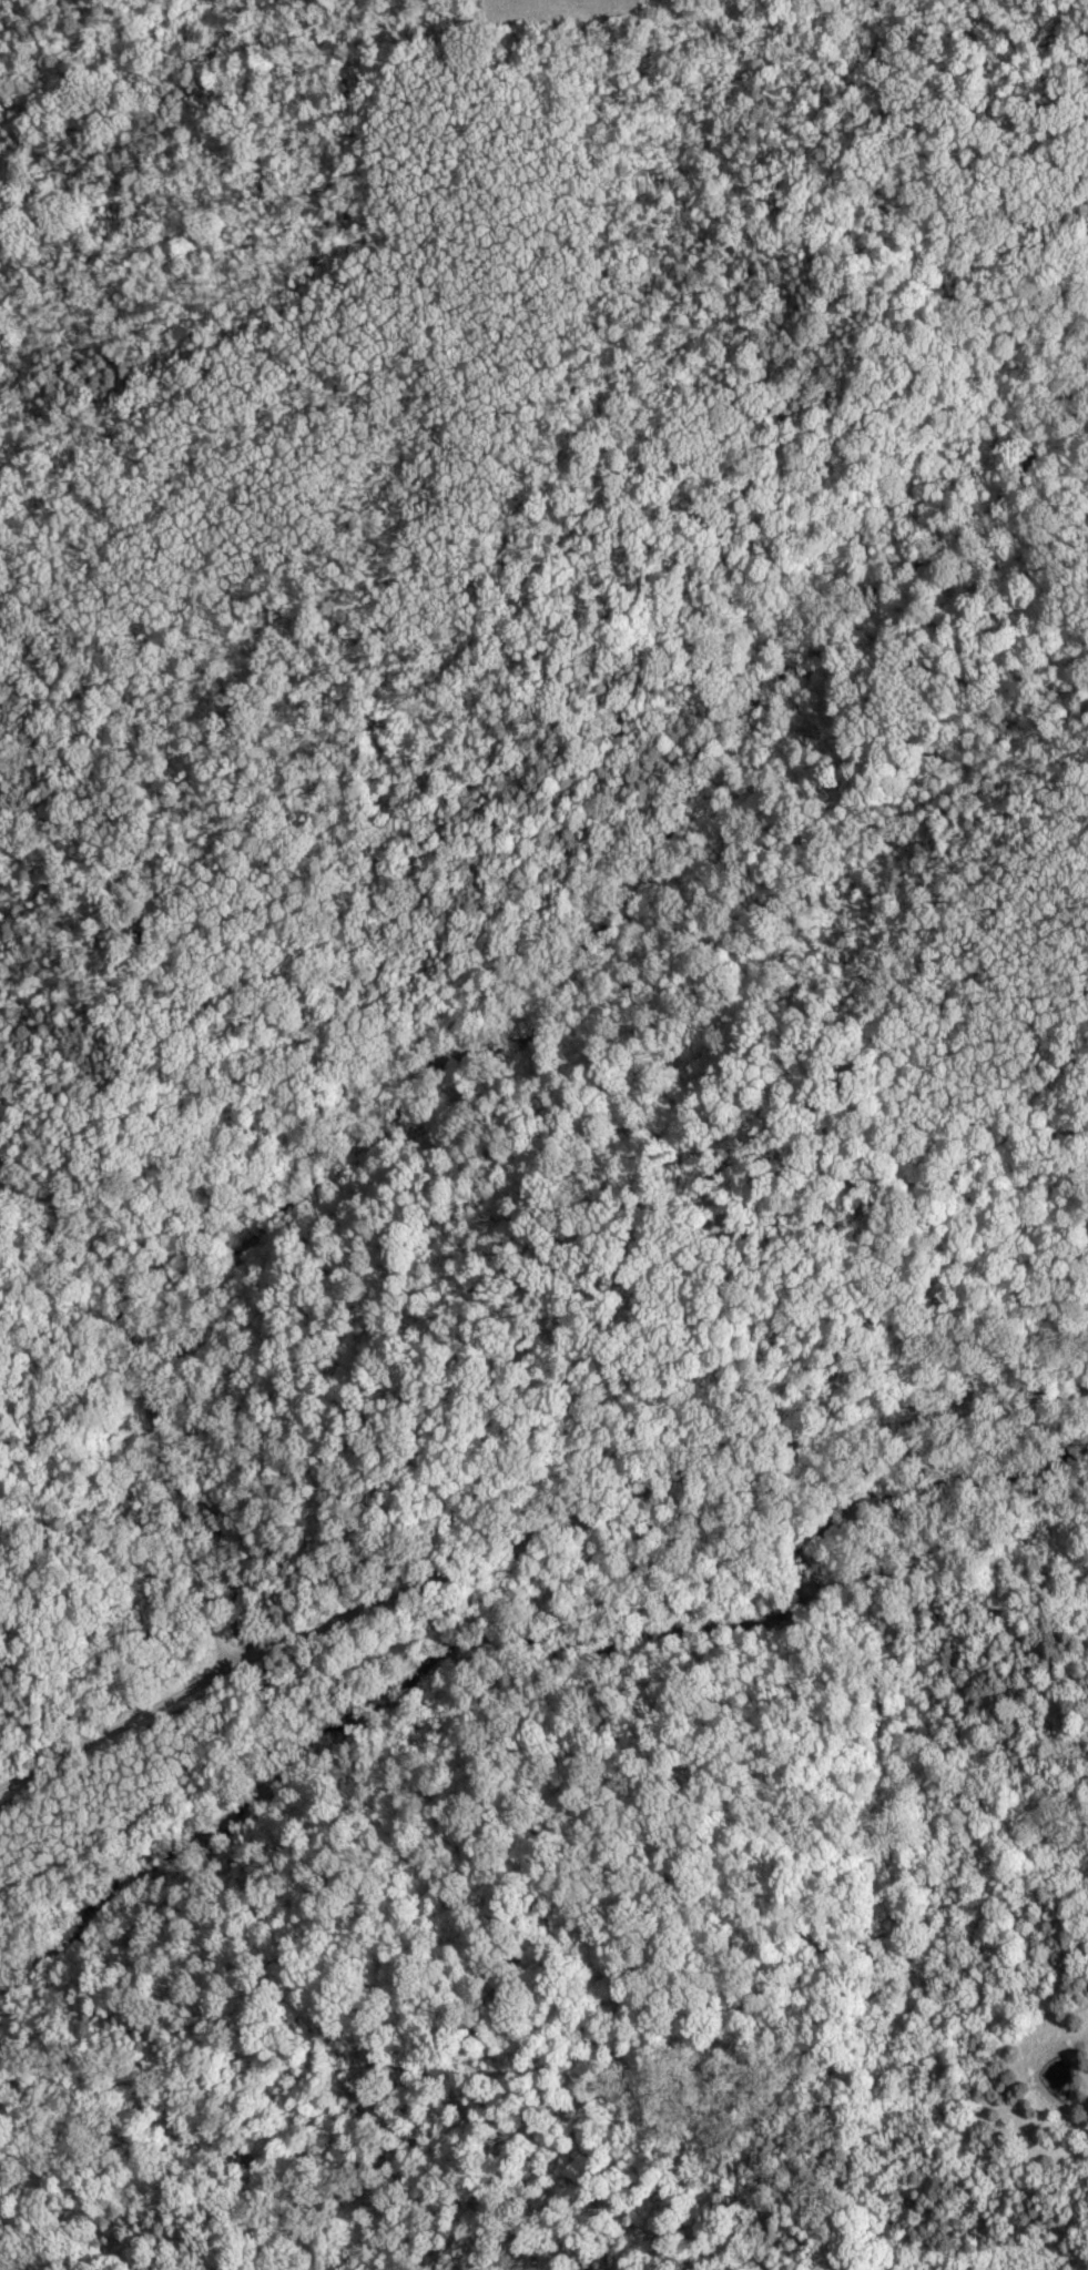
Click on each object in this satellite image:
road: (146, 1338)
road: (523, 1527)

